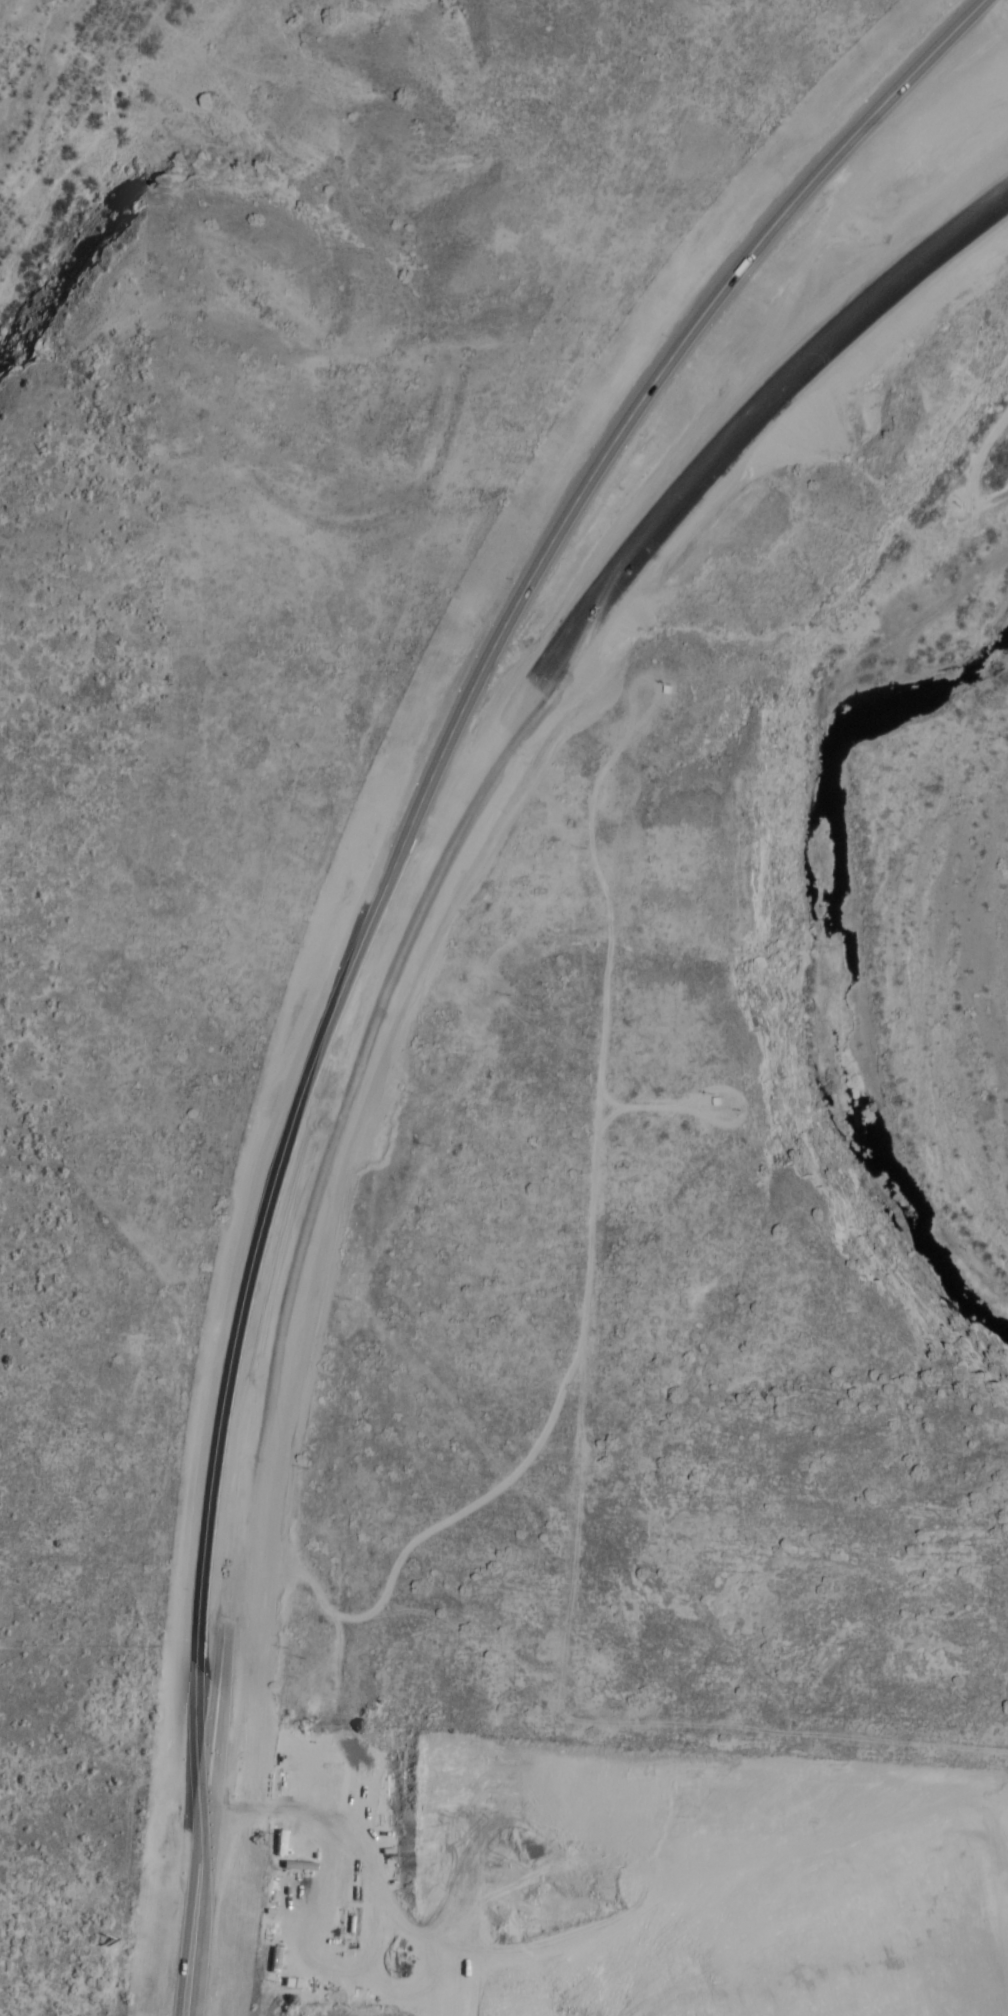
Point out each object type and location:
road: (694, 500)
road: (387, 920)
river: (831, 930)

